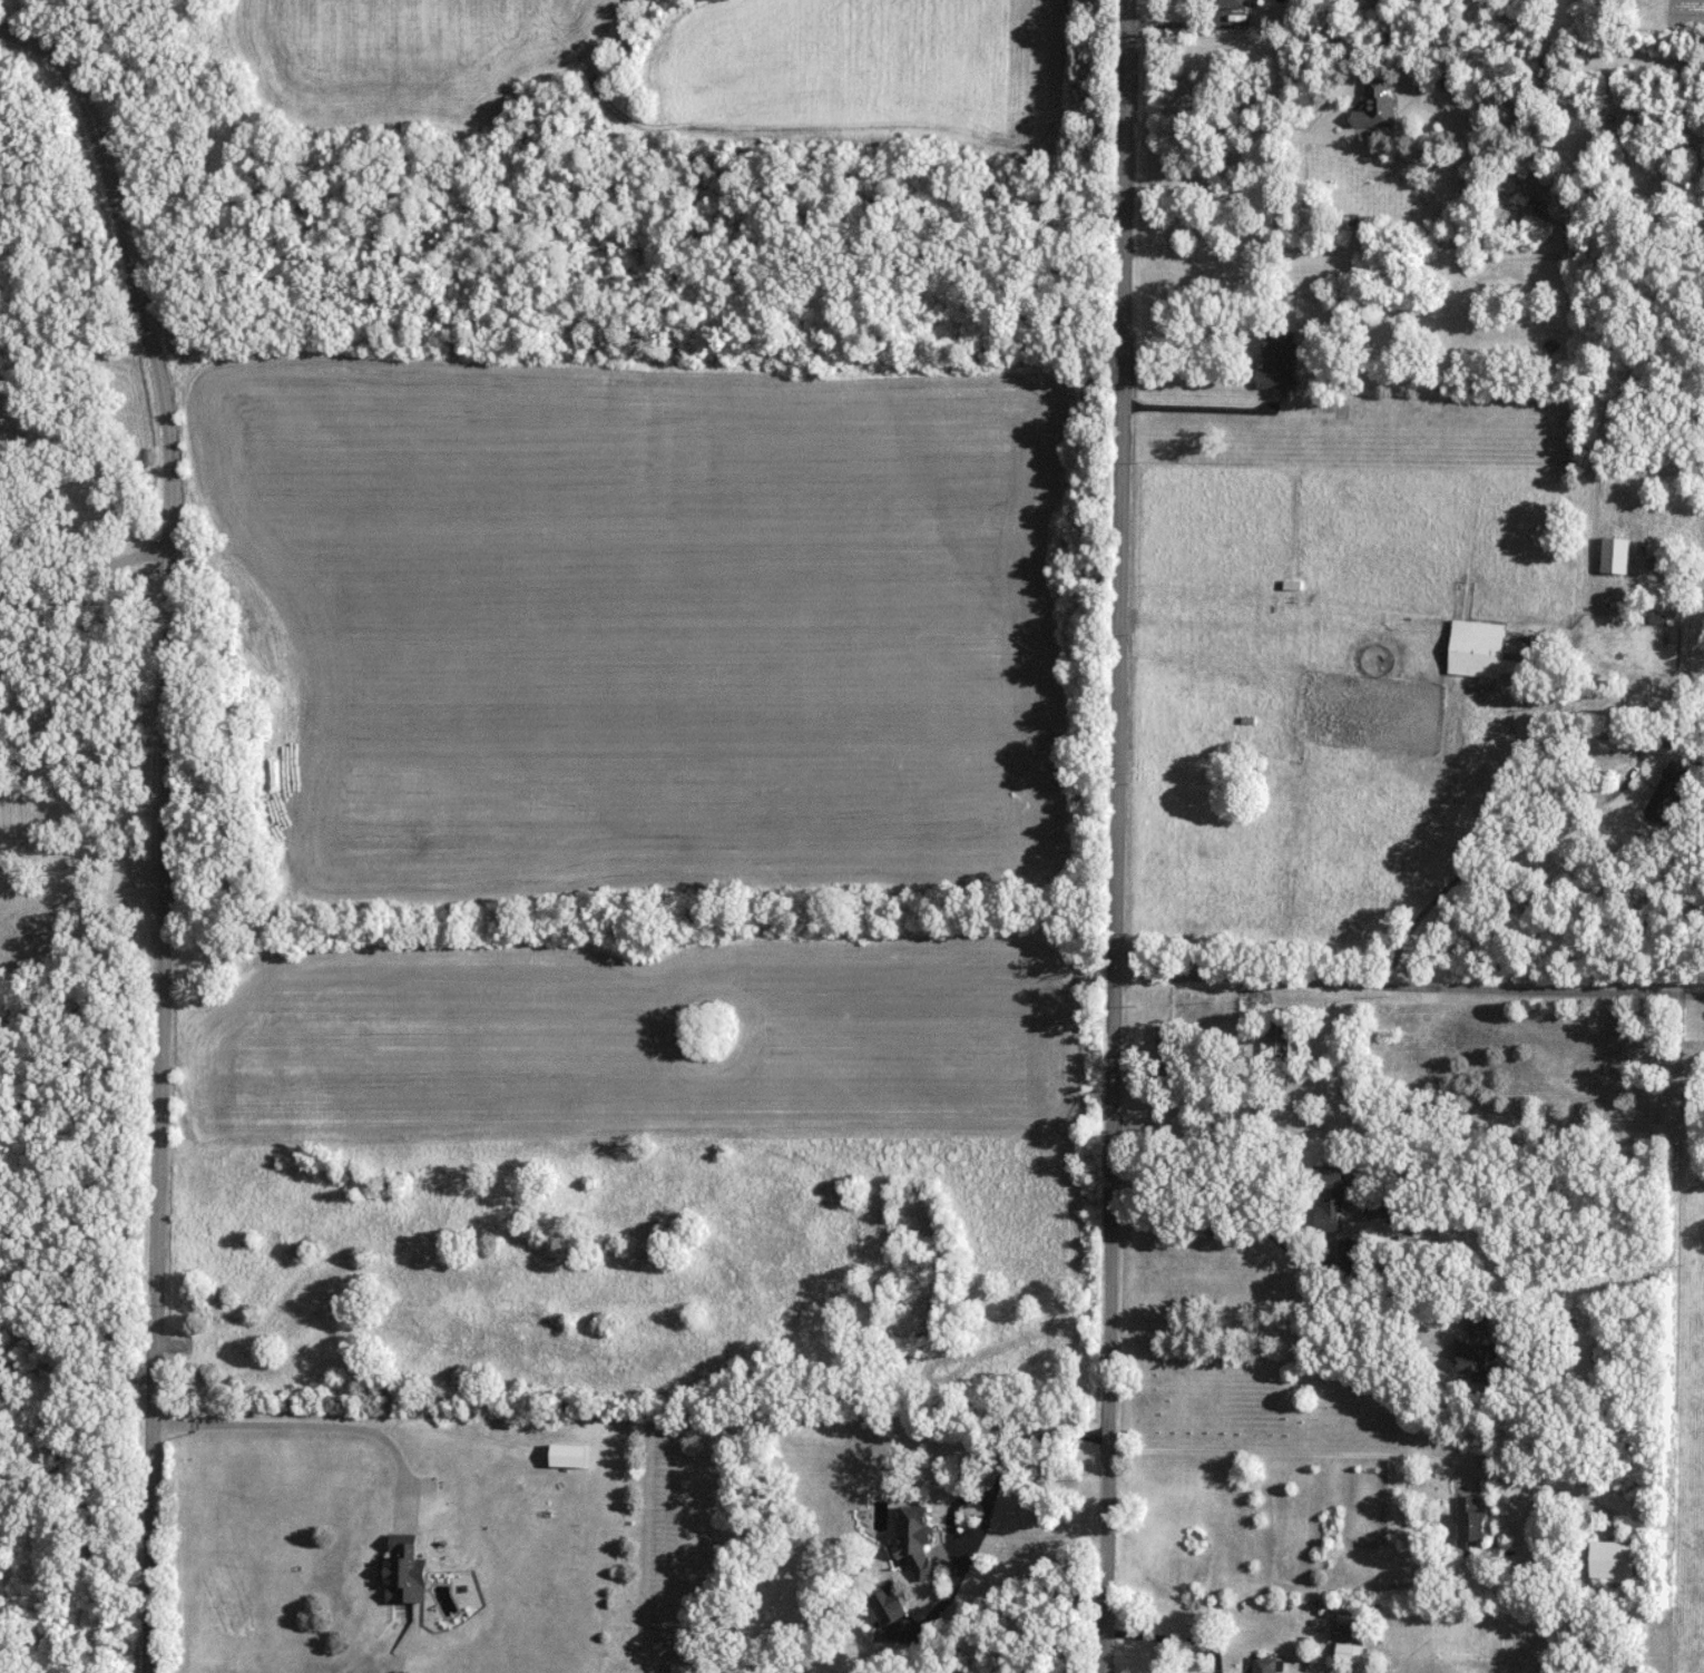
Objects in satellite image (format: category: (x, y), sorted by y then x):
building: (1232, 3)
road: (1414, 43)
building: (1377, 104)
building: (1279, 361)
road: (1195, 408)
building: (1617, 555)
building: (1480, 650)
road: (1543, 786)
building: (1669, 793)
road: (165, 824)
road: (1116, 835)
road: (1409, 985)
building: (1279, 1038)
building: (1169, 1046)
building: (1330, 1197)
road: (1267, 1229)
building: (1357, 1255)
building: (1479, 1327)
road: (1270, 1329)
building: (1473, 1361)
road: (307, 1425)
road: (1292, 1454)
road: (991, 1495)
building: (1471, 1529)
building: (917, 1540)
building: (1616, 1562)
building: (405, 1569)
building: (1350, 1633)
road: (1174, 1638)
building: (1265, 1665)
building: (682, 1670)

